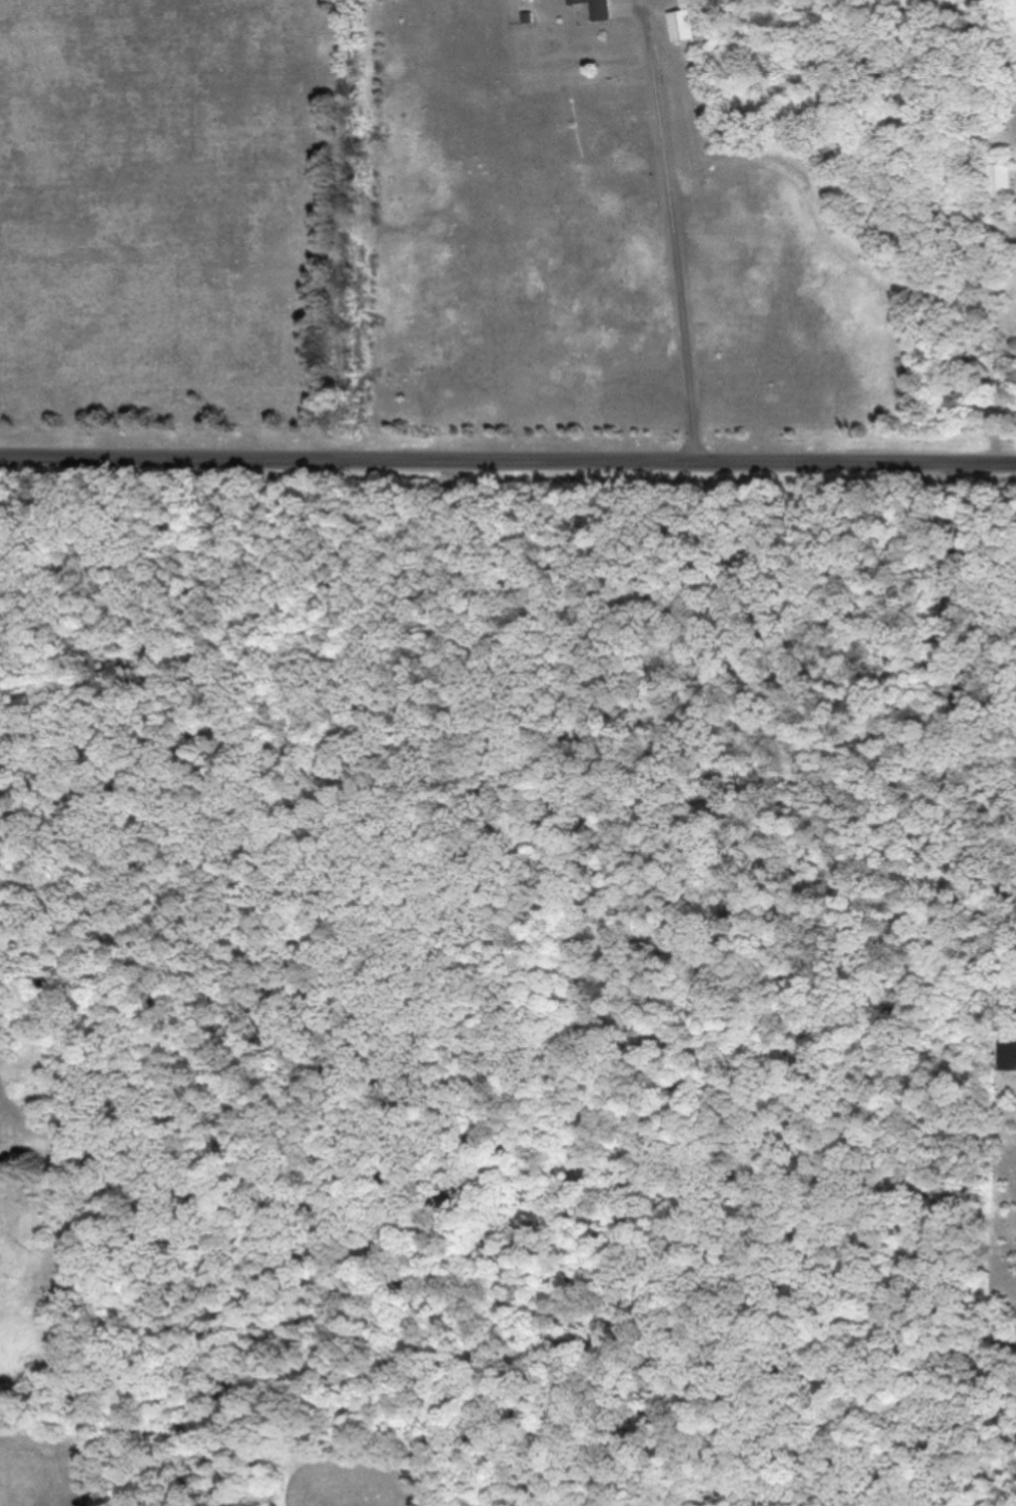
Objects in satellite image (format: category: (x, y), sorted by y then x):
building: (594, 9)
building: (681, 29)
building: (998, 183)
park: (183, 213)
road: (508, 458)
road: (720, 984)
building: (1005, 1057)

